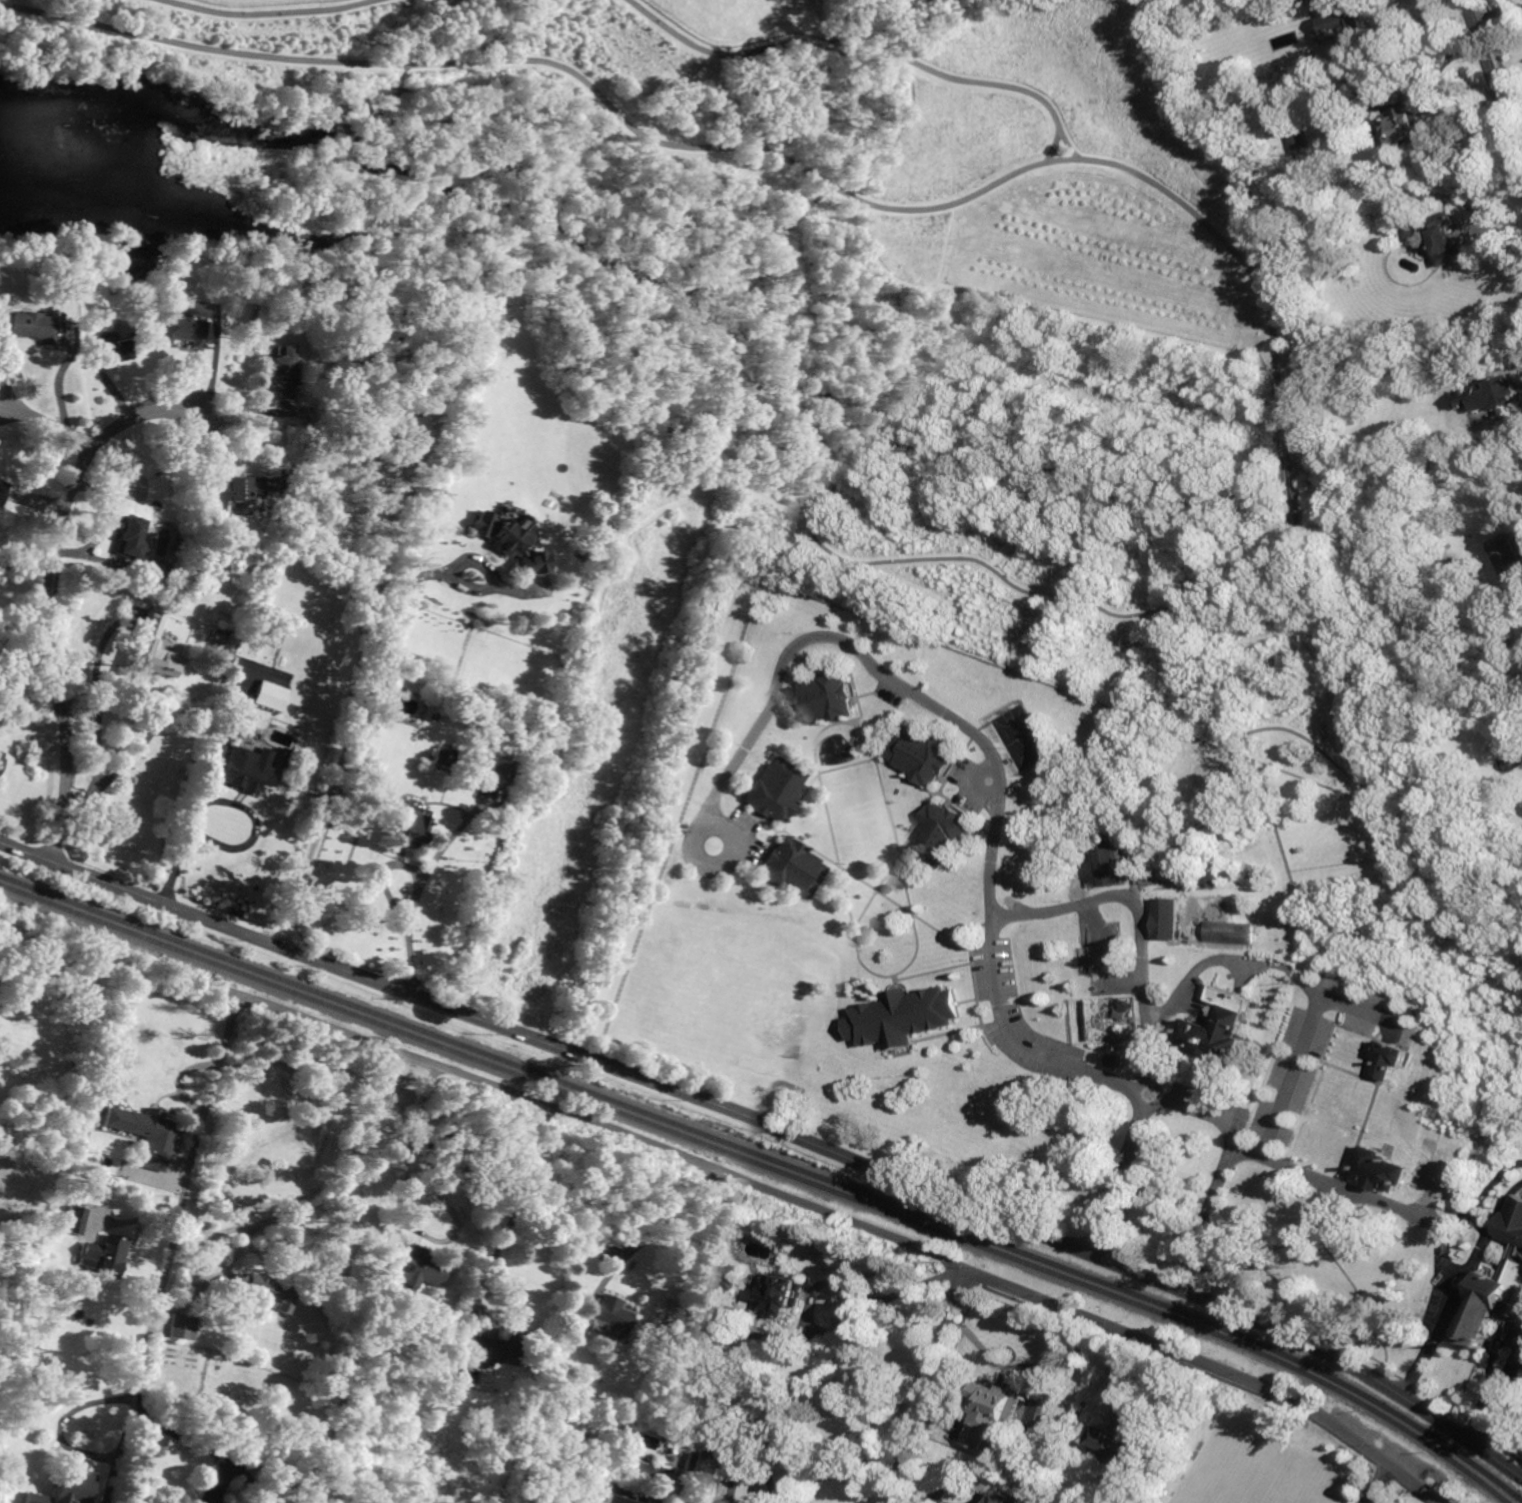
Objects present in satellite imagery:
road: (1498, 10)
road: (260, 13)
building: (1341, 20)
road: (897, 58)
road: (471, 60)
road: (1407, 73)
road: (1495, 73)
building: (1406, 123)
building: (1346, 132)
building: (1300, 140)
road: (1098, 162)
building: (1322, 206)
road: (1492, 227)
building: (1437, 237)
building: (33, 328)
building: (182, 330)
building: (112, 352)
building: (278, 377)
building: (1498, 396)
road: (48, 423)
building: (415, 441)
building: (375, 459)
road: (1293, 459)
building: (228, 491)
building: (2, 492)
building: (128, 538)
building: (507, 538)
road: (908, 556)
building: (1507, 556)
road: (384, 557)
building: (155, 570)
road: (45, 591)
building: (220, 643)
road: (1320, 646)
building: (150, 651)
building: (485, 682)
building: (268, 696)
building: (825, 699)
building: (0, 713)
road: (1307, 721)
park: (1023, 736)
building: (923, 755)
road: (338, 757)
building: (443, 758)
building: (1511, 761)
building: (1, 762)
road: (881, 765)
building: (248, 770)
building: (502, 770)
road: (1001, 771)
building: (775, 790)
road: (202, 796)
road: (1398, 806)
building: (408, 827)
road: (728, 827)
building: (941, 834)
building: (1114, 837)
building: (1070, 860)
building: (1115, 864)
building: (793, 868)
building: (1149, 870)
building: (1219, 874)
road: (418, 888)
road: (907, 903)
road: (915, 911)
building: (1170, 919)
road: (1138, 925)
building: (1234, 932)
building: (1103, 959)
road: (926, 971)
building: (904, 1017)
building: (1223, 1026)
road: (1303, 1043)
building: (1116, 1059)
building: (1390, 1059)
road: (776, 1125)
building: (146, 1136)
building: (80, 1142)
road: (1229, 1148)
road: (408, 1154)
railway: (773, 1160)
railway: (768, 1167)
building: (1382, 1169)
road: (1333, 1181)
road: (192, 1193)
building: (28, 1195)
road: (1506, 1202)
road: (519, 1206)
road: (297, 1210)
building: (72, 1220)
road: (853, 1221)
building: (1513, 1222)
road: (656, 1235)
road: (1488, 1238)
road: (1447, 1244)
building: (101, 1254)
building: (416, 1266)
building: (728, 1283)
building: (265, 1292)
building: (784, 1294)
building: (1492, 1302)
building: (609, 1316)
building: (697, 1317)
road: (1442, 1320)
road: (840, 1322)
building: (180, 1327)
road: (760, 1338)
building: (490, 1345)
building: (592, 1361)
road: (1031, 1369)
building: (739, 1383)
road: (929, 1385)
road: (1501, 1396)
building: (993, 1414)
building: (1116, 1445)
road: (1511, 1448)
road: (69, 1450)
road: (226, 1453)
building: (698, 1466)
park: (1240, 1466)
road: (752, 1467)
building: (640, 1470)
road: (223, 1480)
road: (1373, 1481)
building: (72, 1486)
building: (1004, 1498)
building: (613, 1500)
building: (640, 1500)

